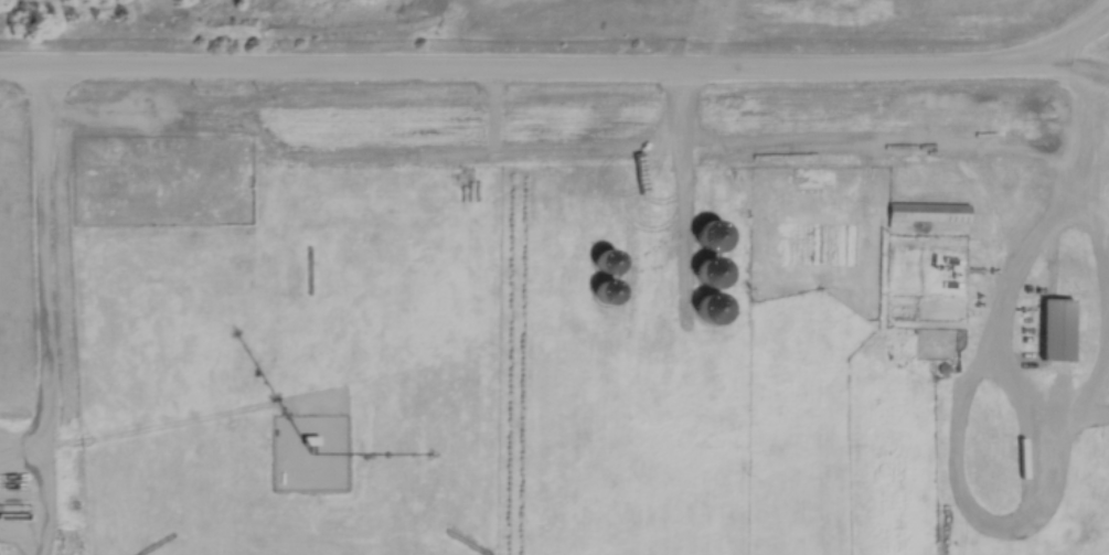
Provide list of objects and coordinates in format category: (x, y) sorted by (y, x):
road: (1076, 38)
road: (521, 64)
road: (1075, 64)
road: (1100, 162)
building: (926, 212)
road: (1016, 278)
road: (45, 309)
building: (1052, 327)

